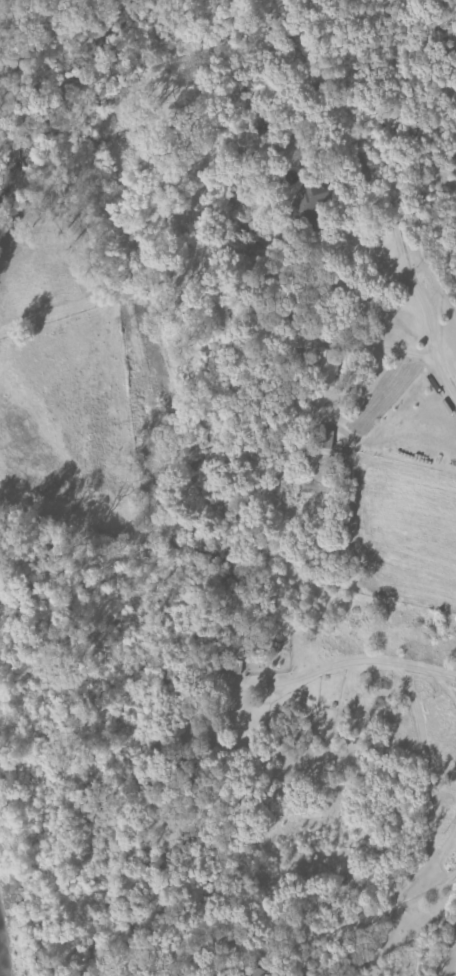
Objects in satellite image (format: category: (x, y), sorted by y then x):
building: (233, 667)
road: (452, 963)

